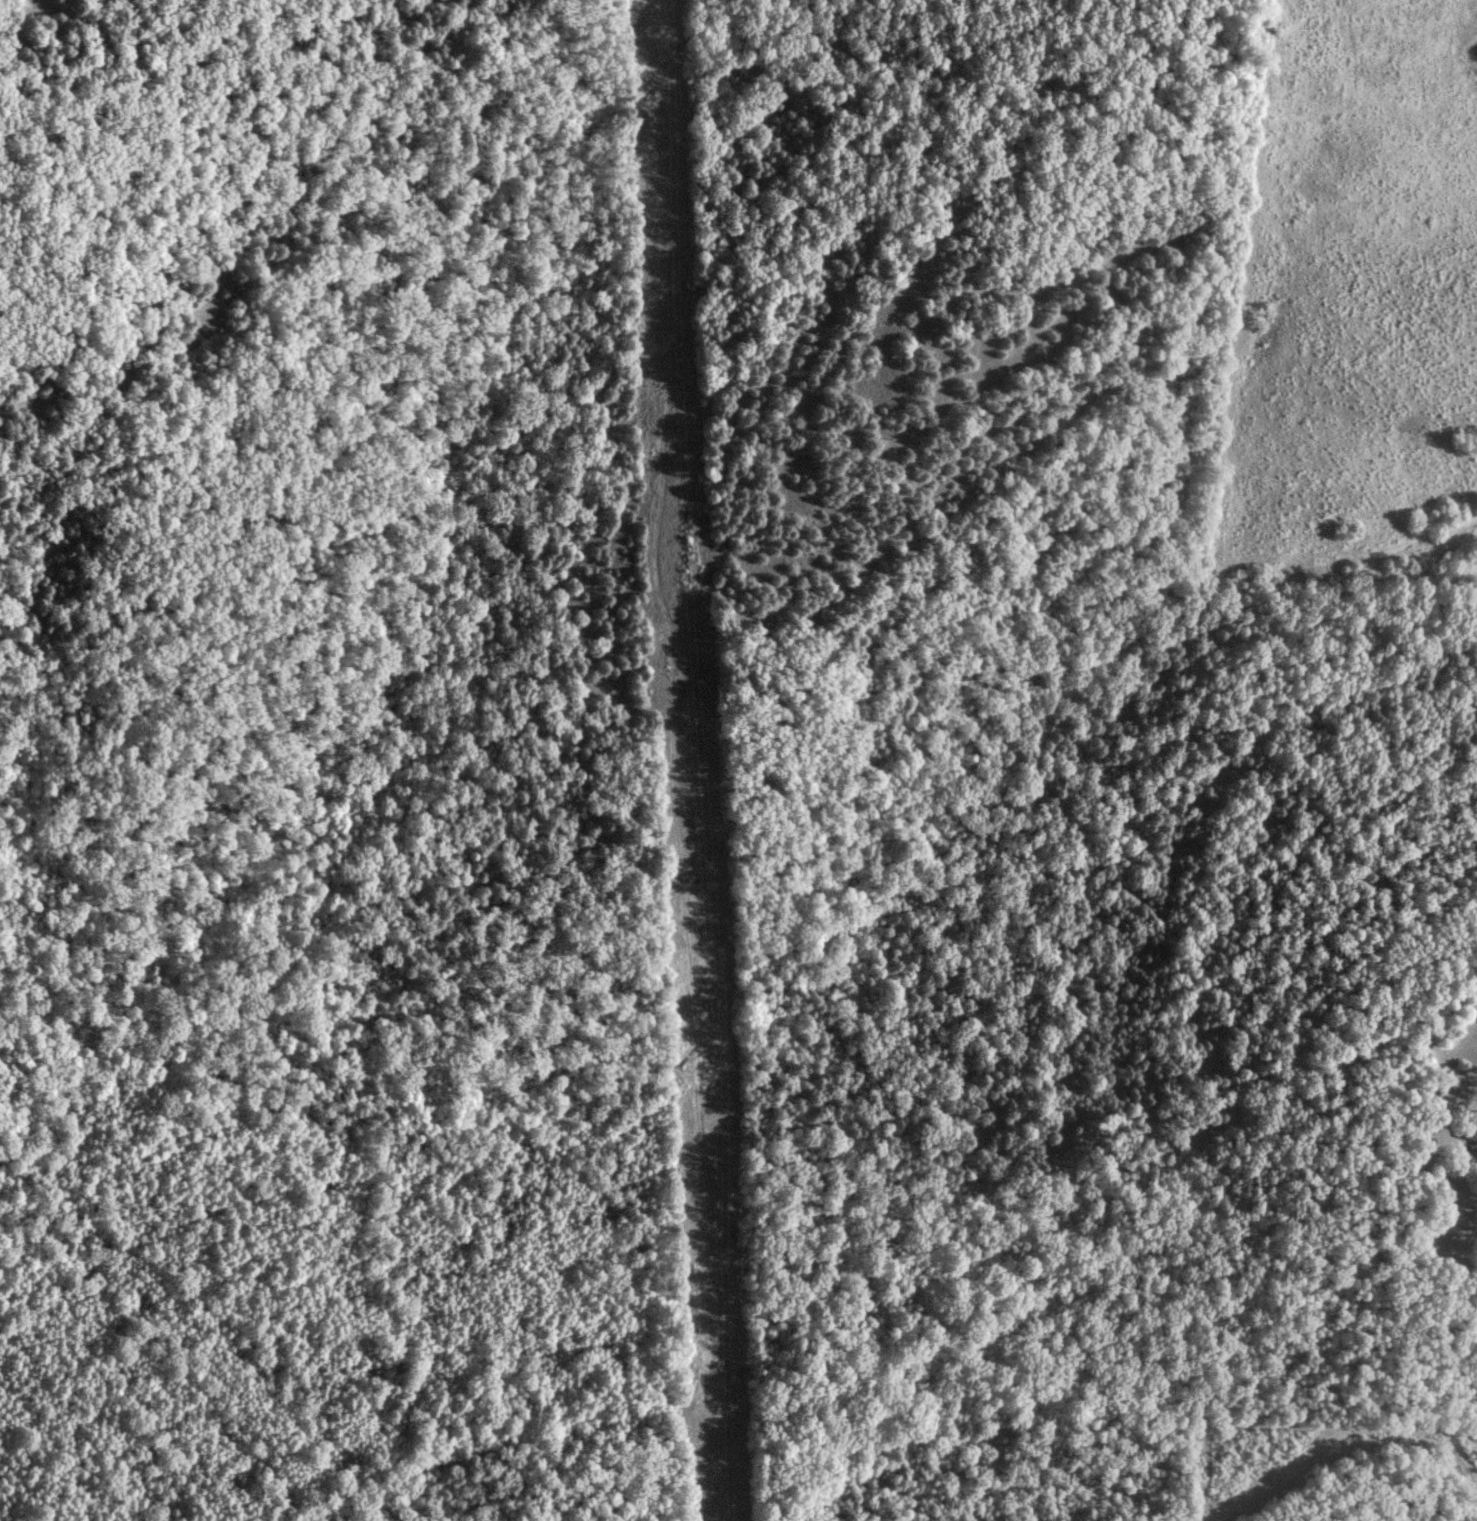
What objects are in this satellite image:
building: (1467, 1134)

